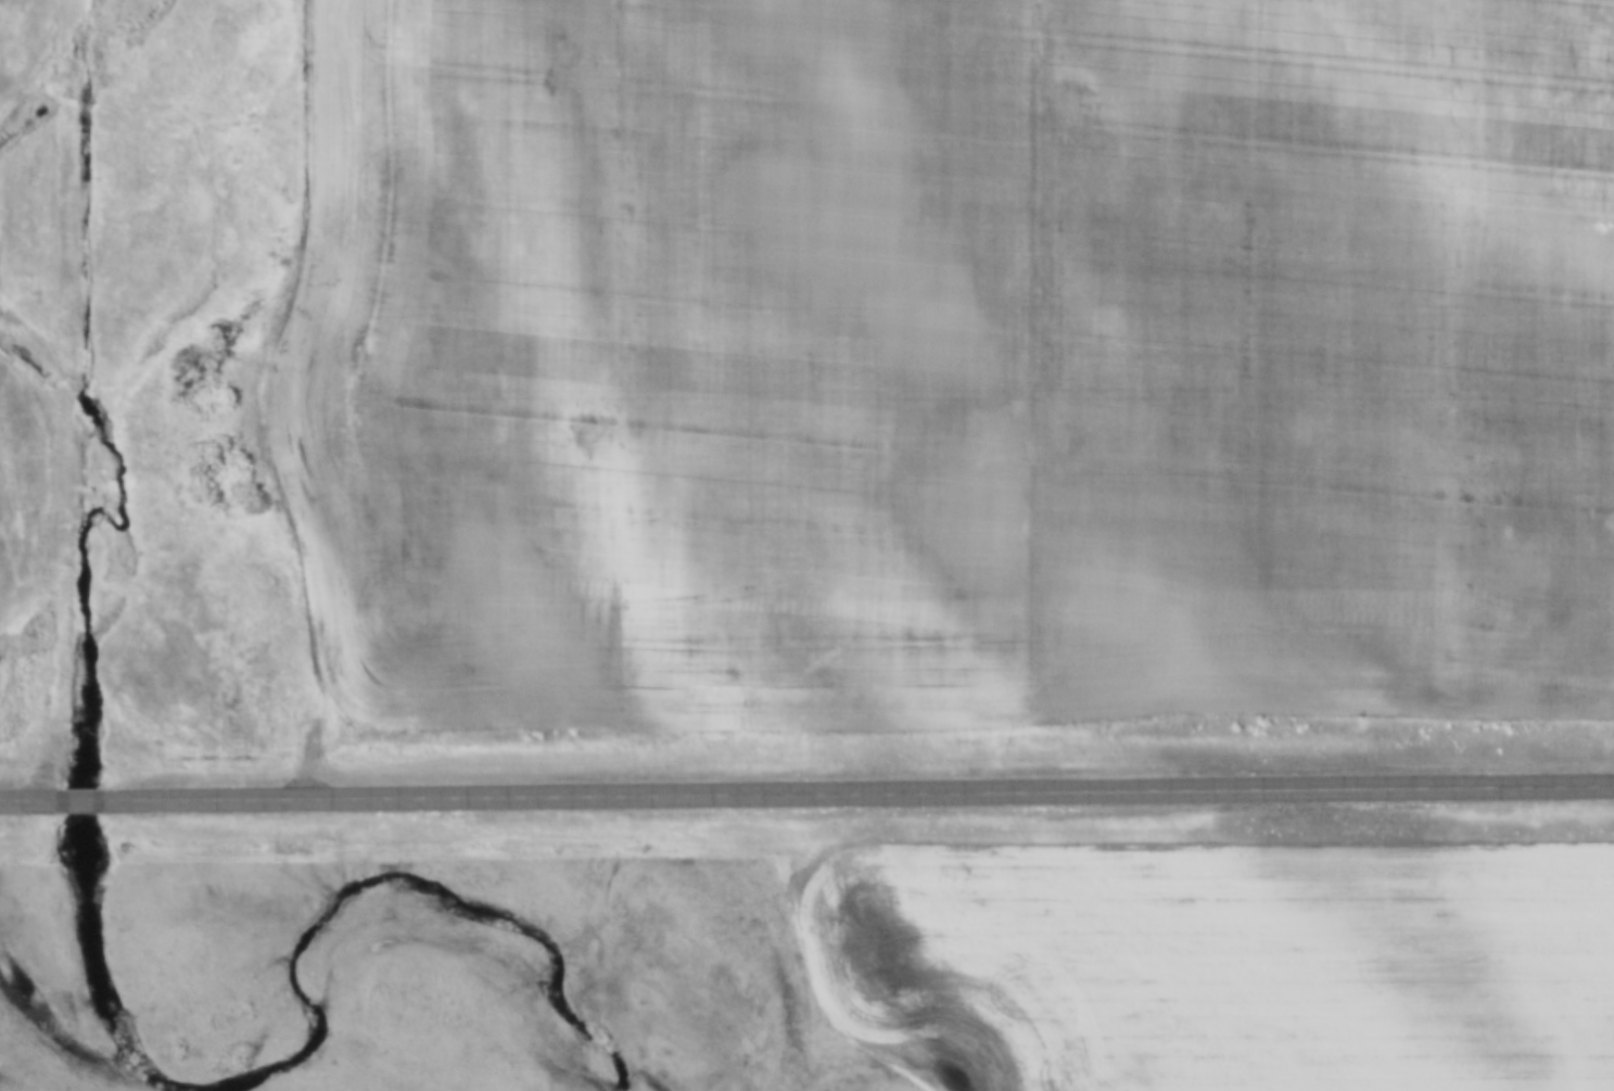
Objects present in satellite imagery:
road: (305, 397)
road: (806, 789)

